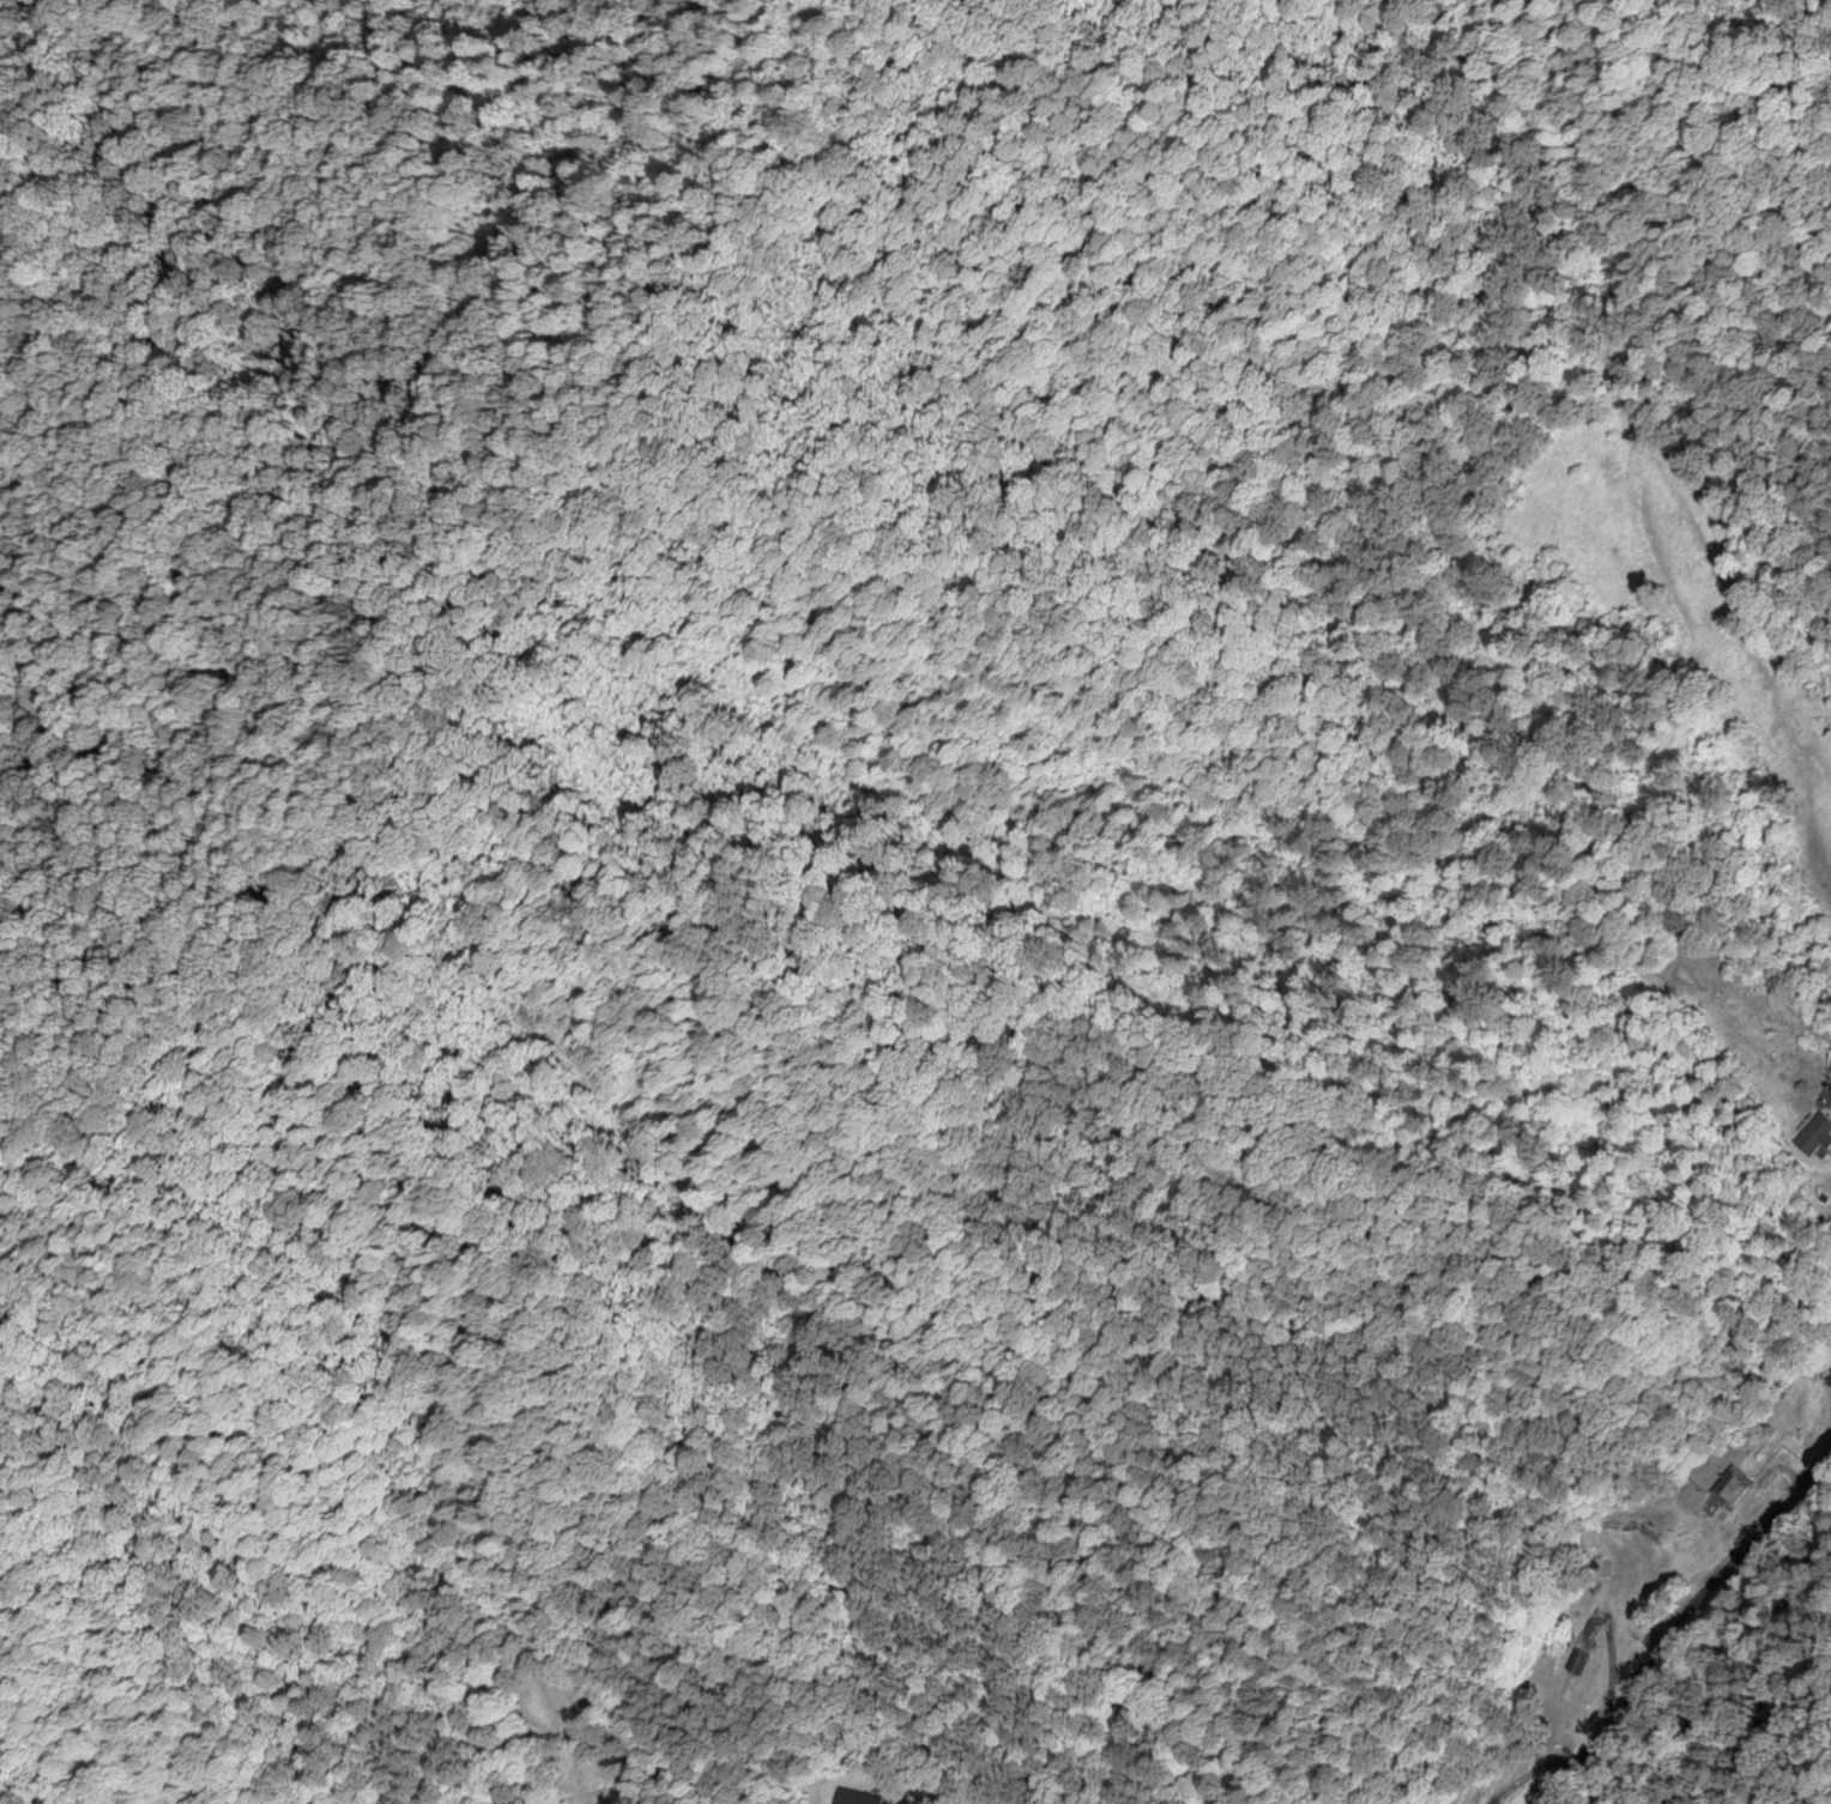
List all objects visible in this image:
road: (1285, 1409)
building: (1732, 1484)
road: (1670, 1622)
building: (860, 1797)

